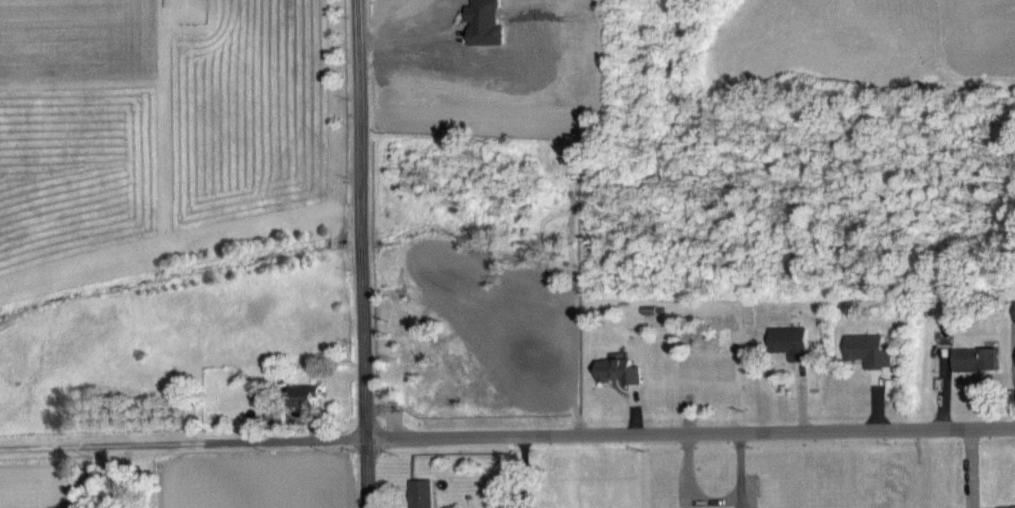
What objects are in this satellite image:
road: (360, 219)
building: (1014, 322)
building: (790, 354)
building: (868, 362)
building: (974, 371)
building: (618, 383)
building: (302, 407)
building: (275, 428)
road: (507, 435)
road: (969, 468)
road: (365, 473)
building: (421, 499)

